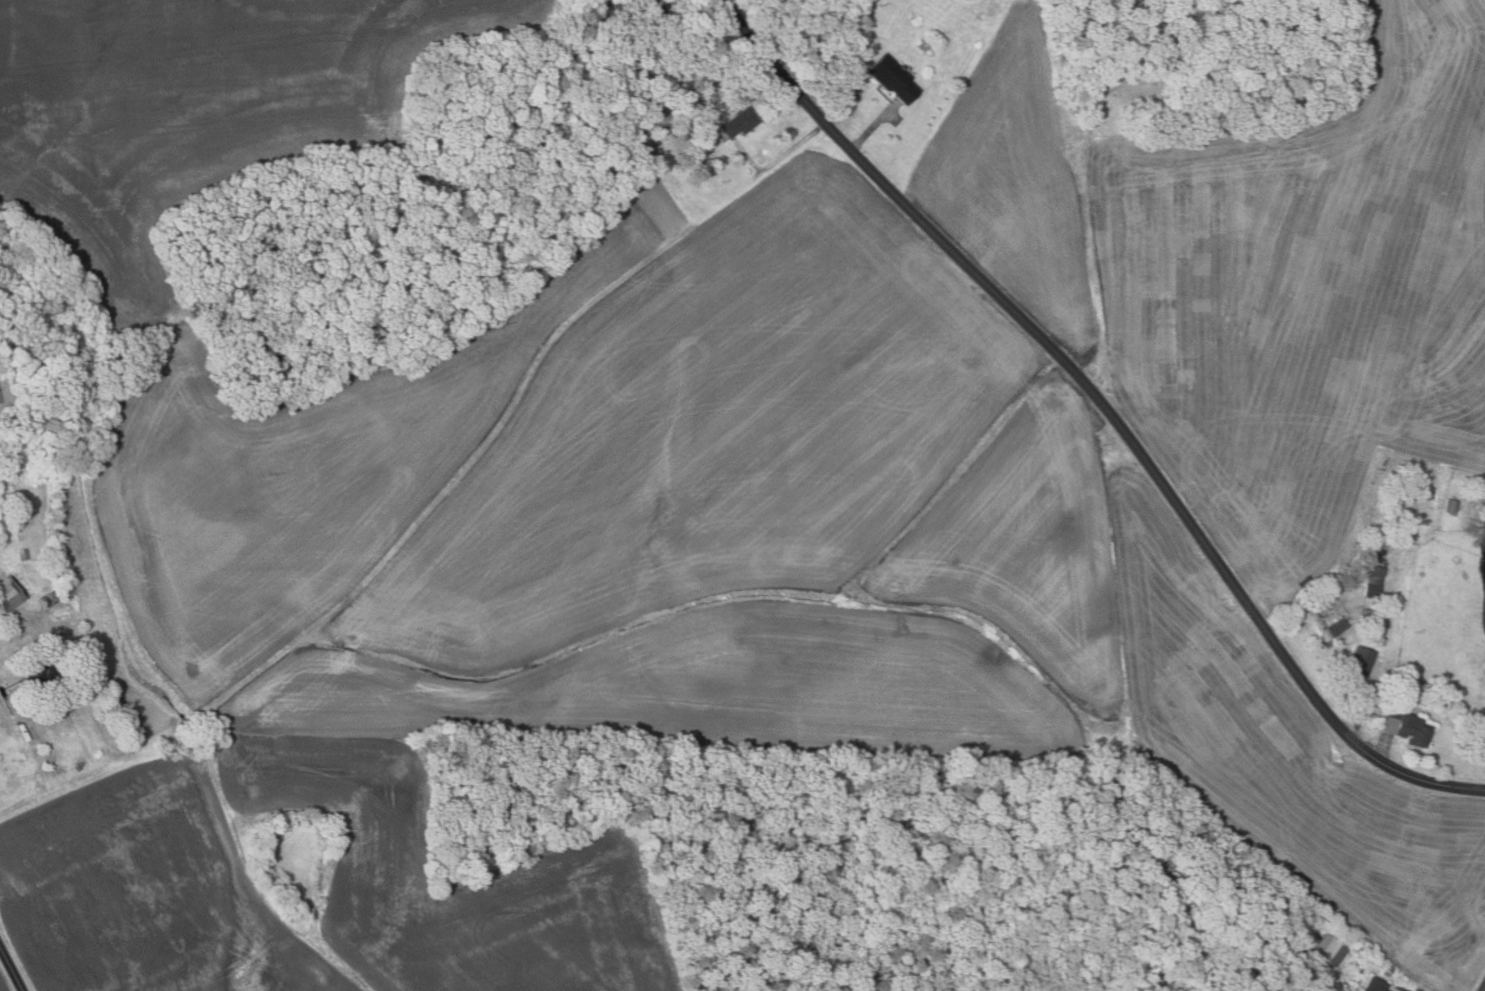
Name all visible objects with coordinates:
building: (604, 10)
building: (655, 14)
building: (607, 30)
building: (618, 43)
building: (891, 78)
building: (1132, 89)
building: (627, 99)
crop: (193, 109)
building: (650, 109)
building: (738, 122)
road: (872, 127)
building: (637, 133)
building: (644, 148)
road: (777, 159)
crop: (1248, 269)
road: (1105, 407)
building: (1451, 506)
crop: (636, 509)
building: (1381, 552)
building: (23, 555)
building: (1372, 573)
building: (1370, 591)
building: (11, 595)
building: (52, 598)
building: (1367, 612)
building: (1366, 619)
building: (1338, 622)
building: (14, 624)
building: (1359, 662)
building: (41, 672)
building: (84, 678)
road: (1360, 717)
building: (1407, 727)
road: (1385, 751)
crop: (1287, 758)
crop: (312, 882)
building: (1328, 949)
building: (1289, 958)
road: (12, 967)
crop: (4, 983)
crop: (4, 983)
building: (1373, 984)
road: (1392, 990)
road: (1484, 990)

